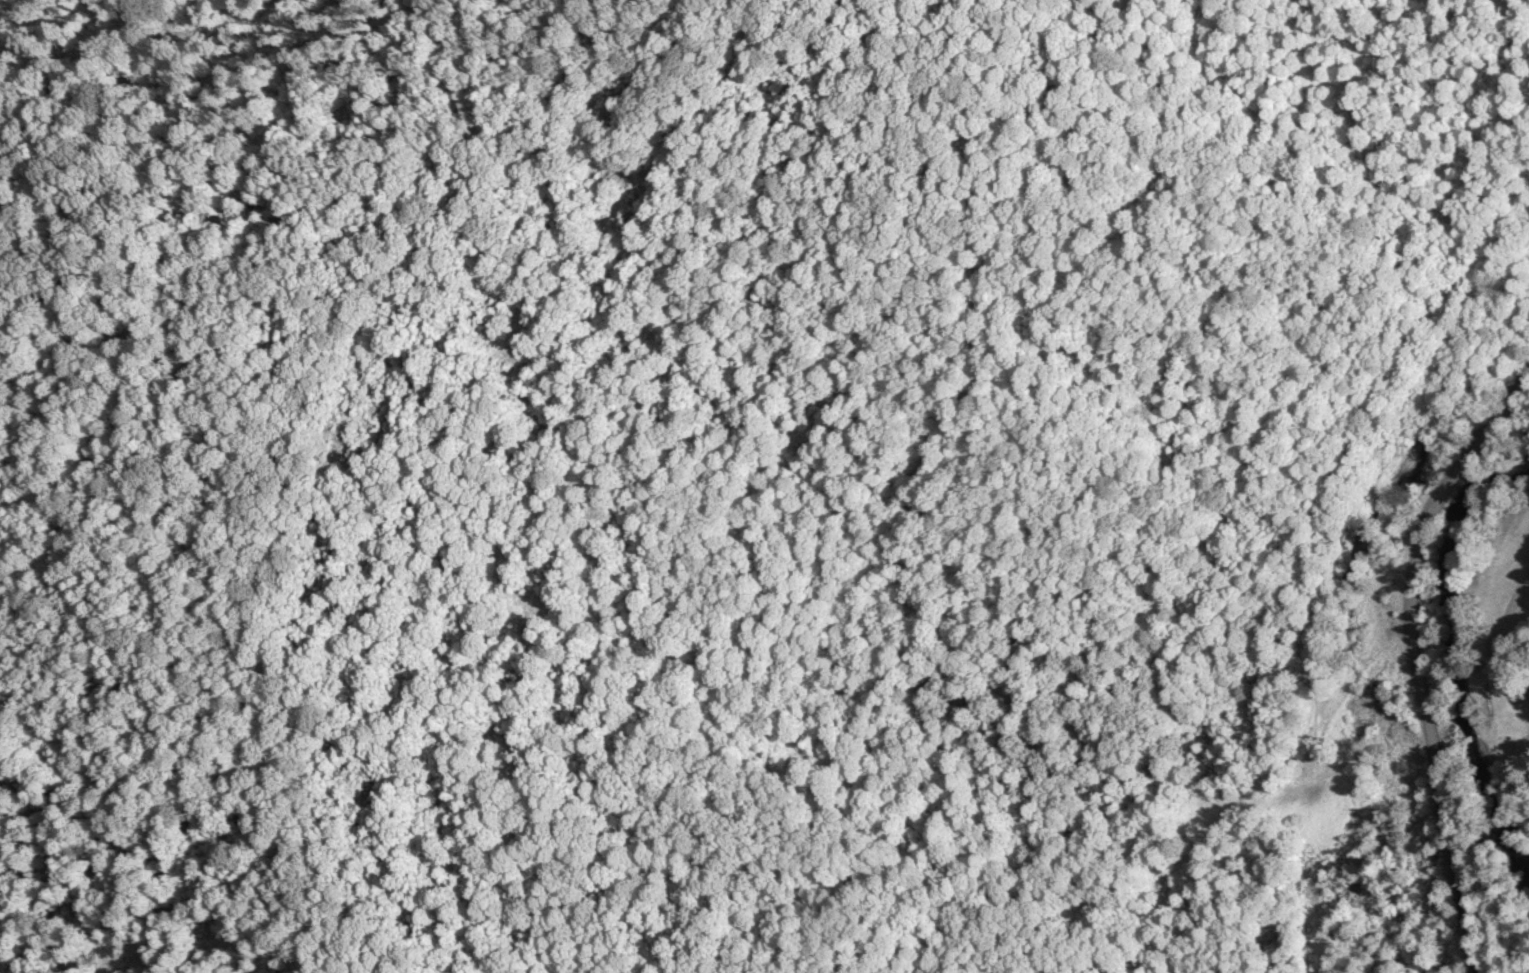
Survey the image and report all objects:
road: (1416, 654)

